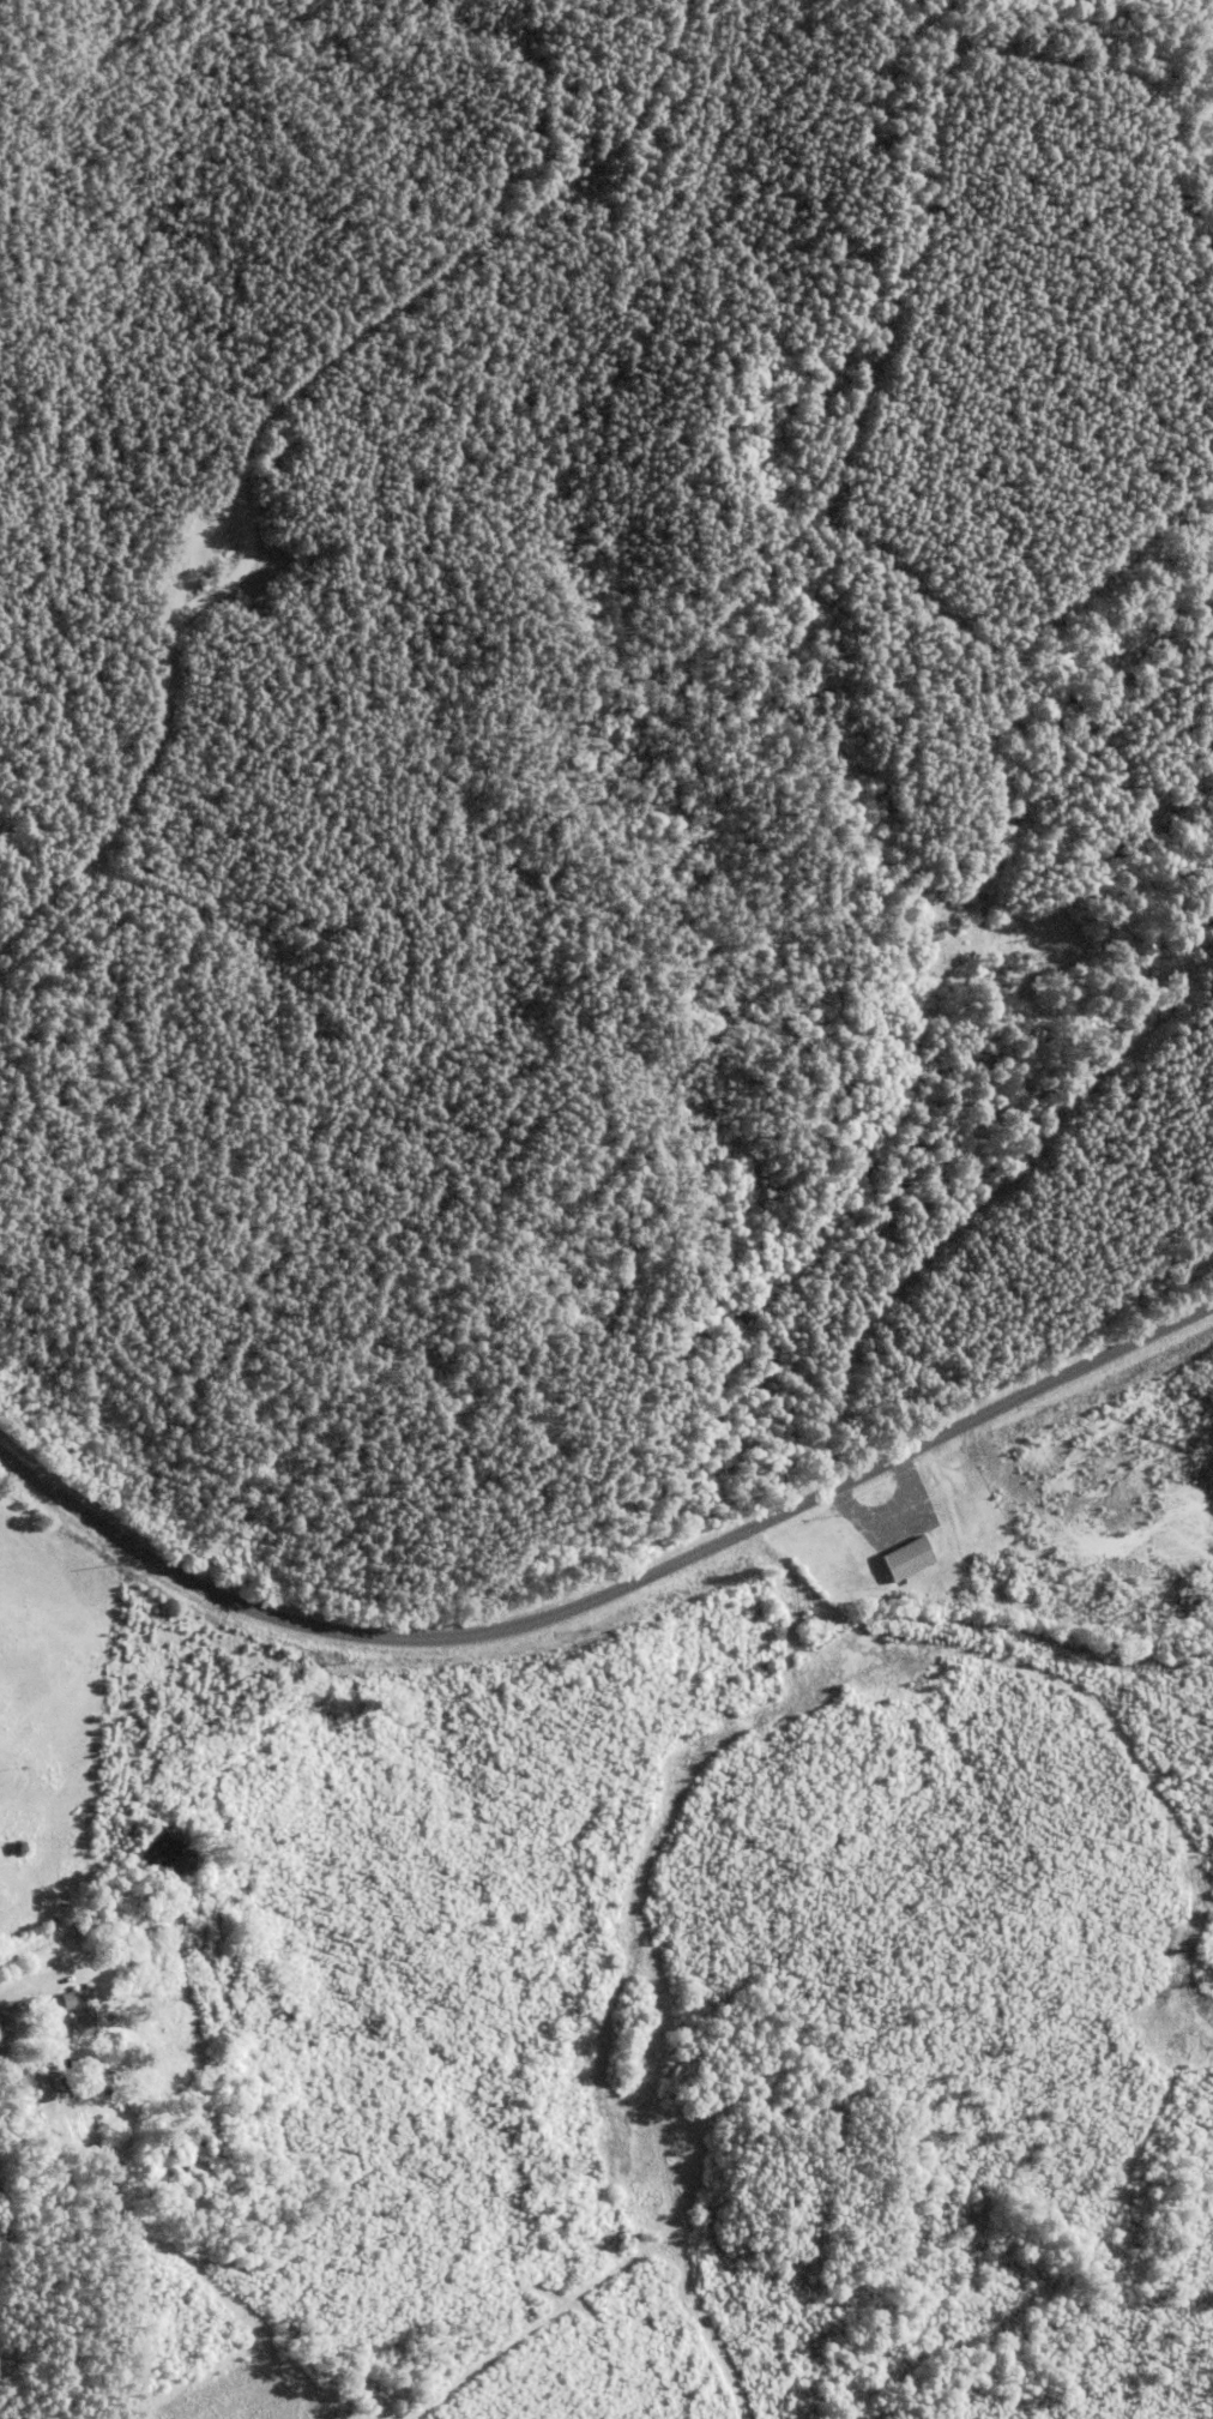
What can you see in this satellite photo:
building: (880, 1560)
road: (608, 1583)
building: (70, 2009)
building: (29, 2087)

